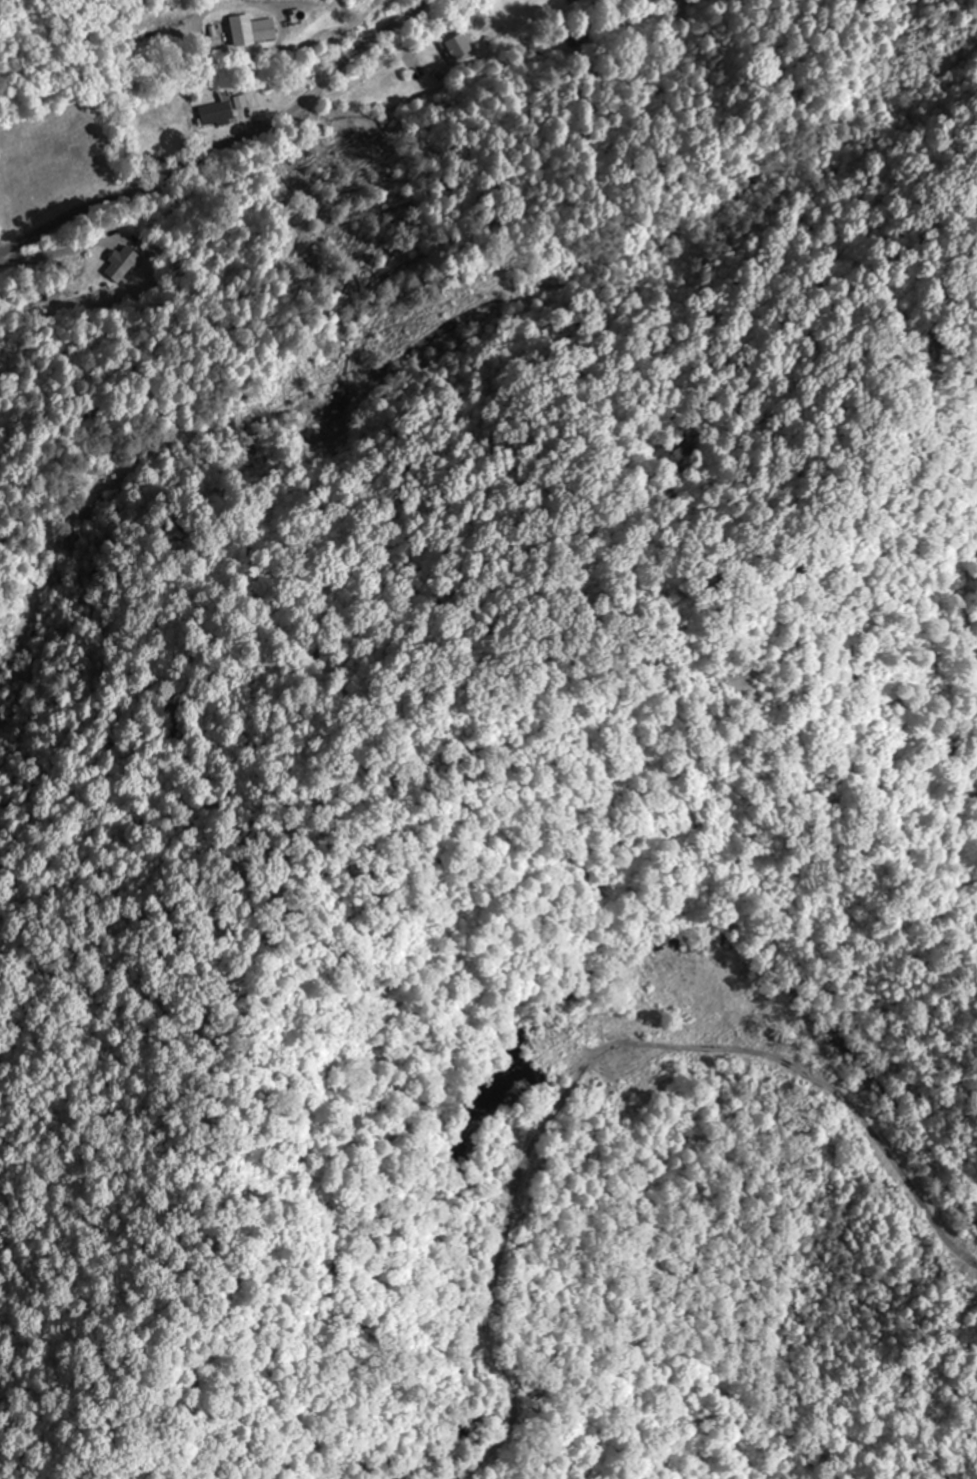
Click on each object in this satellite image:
building: (249, 29)
building: (457, 46)
building: (214, 113)
road: (230, 154)
building: (294, 155)
building: (119, 263)

